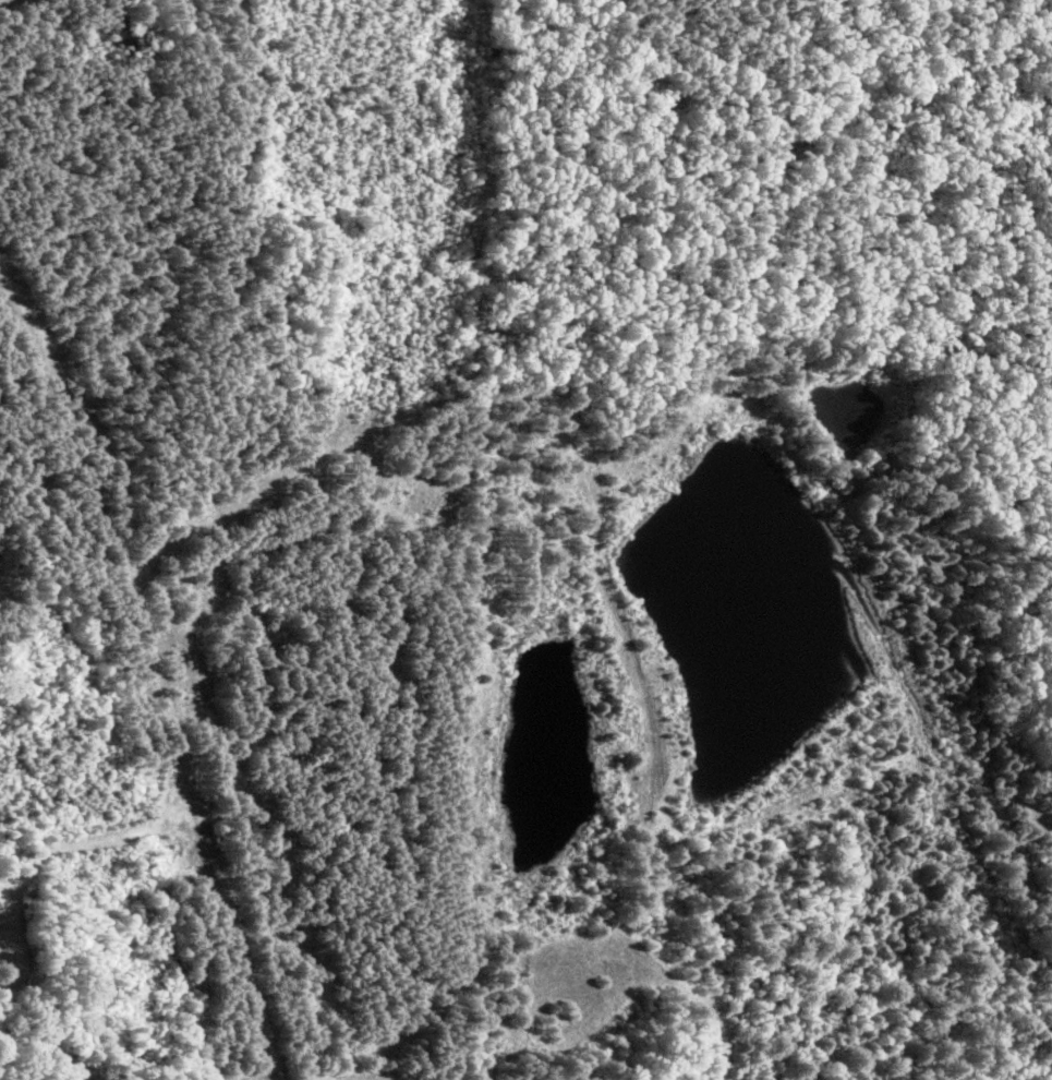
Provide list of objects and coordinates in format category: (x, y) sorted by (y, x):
road: (983, 688)

